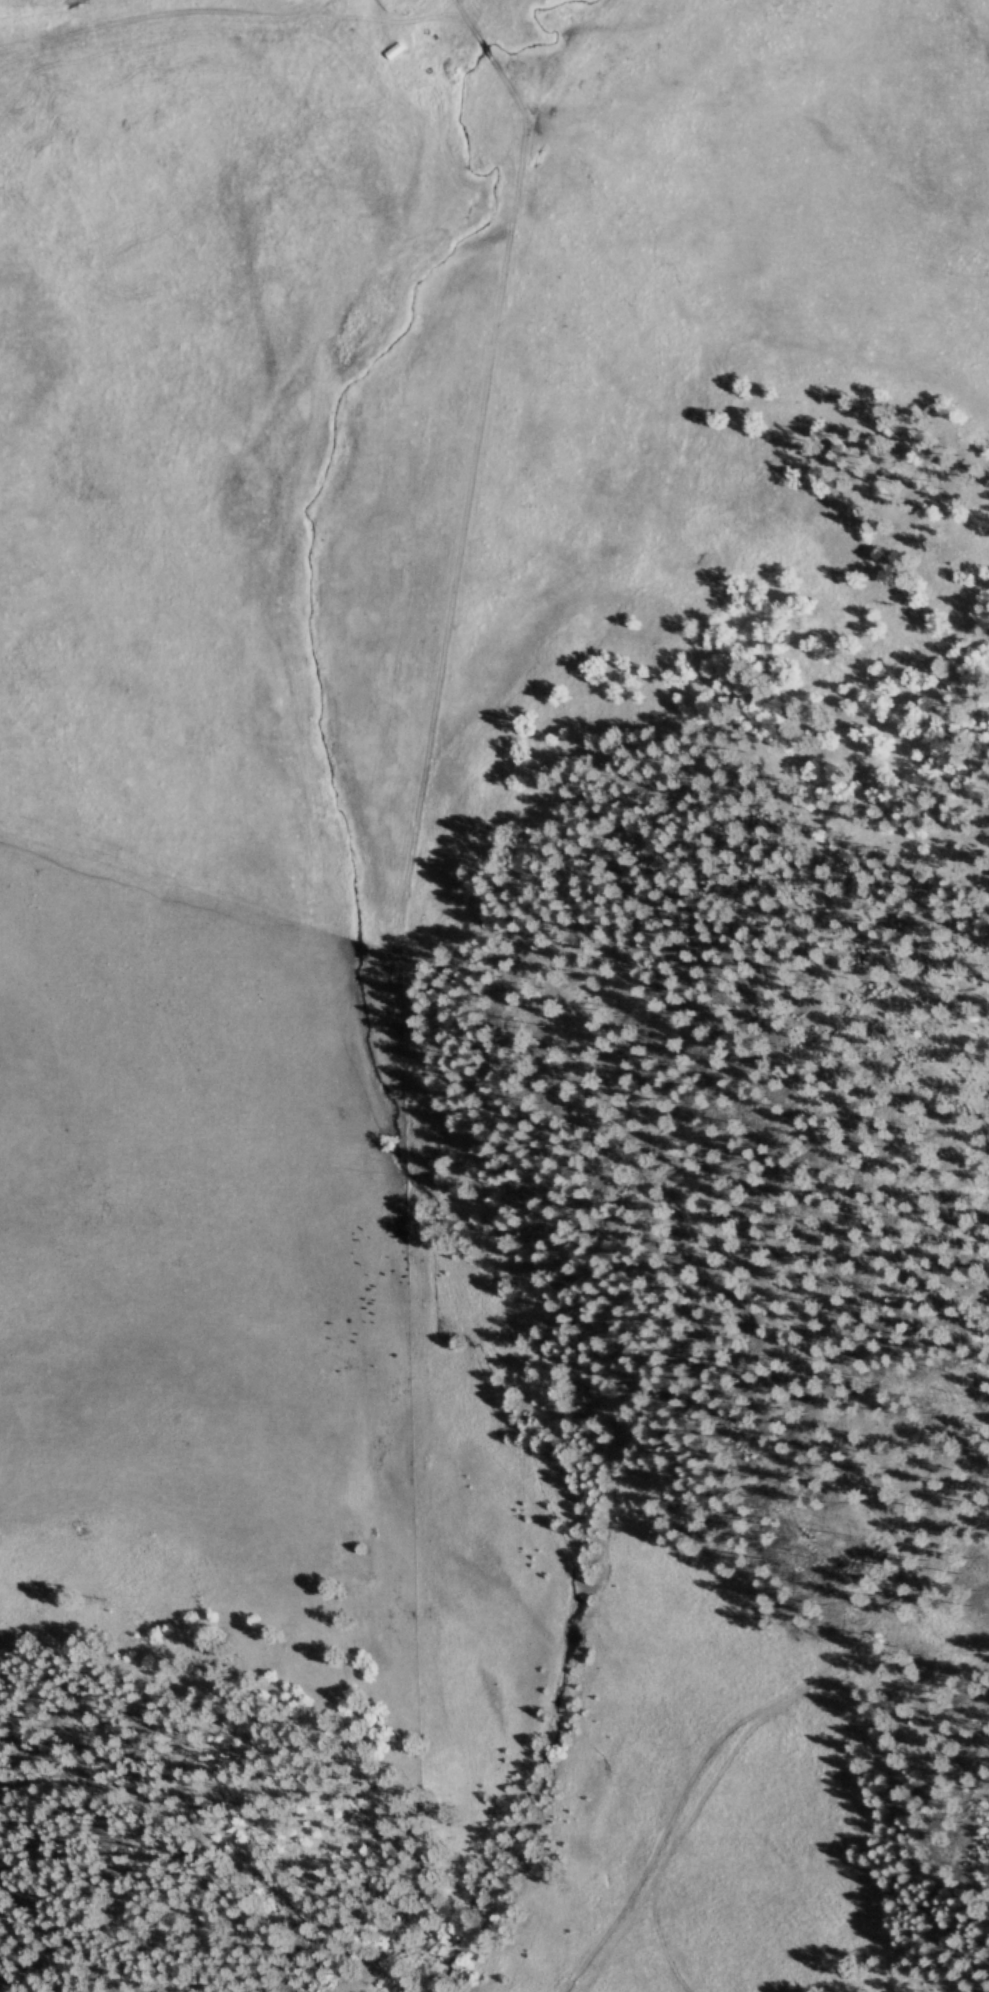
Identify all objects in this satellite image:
road: (684, 1794)
road: (202, 1821)

